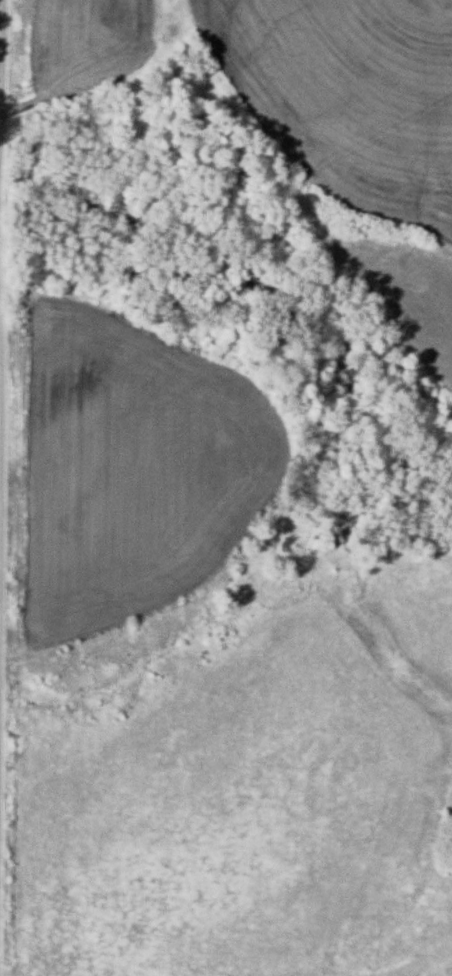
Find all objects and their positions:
road: (1, 71)
road: (0, 409)

